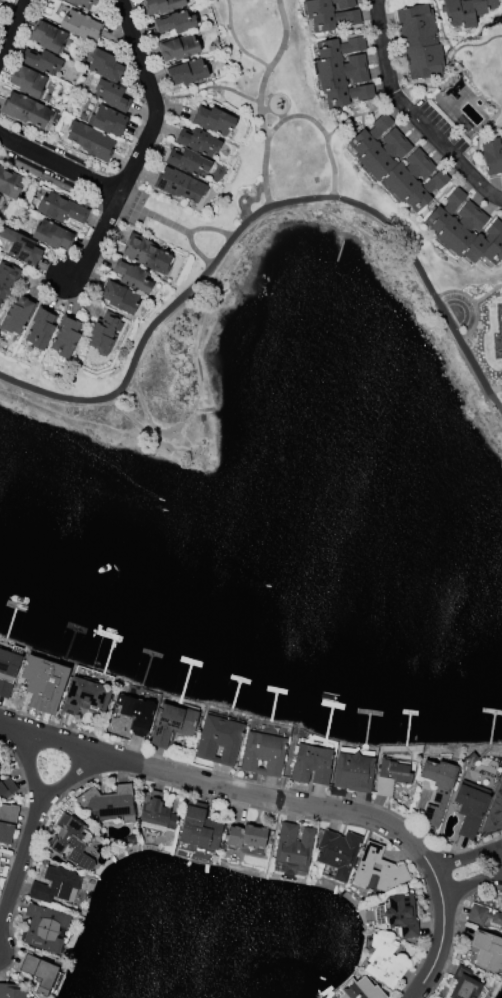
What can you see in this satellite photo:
building: (81, 3)
building: (162, 6)
building: (466, 11)
building: (330, 14)
building: (175, 22)
building: (80, 25)
road: (12, 26)
building: (48, 37)
road: (236, 42)
building: (419, 42)
building: (178, 48)
building: (41, 62)
building: (105, 66)
building: (186, 72)
building: (342, 72)
building: (28, 81)
road: (206, 87)
building: (112, 95)
road: (259, 100)
road: (266, 105)
building: (462, 110)
building: (26, 111)
road: (264, 112)
road: (358, 115)
road: (411, 115)
road: (281, 118)
building: (108, 121)
building: (213, 121)
road: (320, 129)
building: (90, 140)
building: (198, 142)
building: (492, 156)
road: (135, 160)
building: (188, 162)
building: (397, 164)
building: (9, 184)
building: (180, 185)
park: (312, 193)
road: (241, 197)
building: (61, 209)
road: (260, 212)
road: (173, 226)
building: (466, 230)
building: (52, 236)
road: (96, 240)
building: (21, 247)
road: (197, 251)
building: (146, 254)
building: (132, 276)
building: (7, 279)
road: (487, 293)
building: (121, 296)
road: (473, 303)
building: (17, 316)
building: (41, 330)
building: (104, 332)
building: (66, 338)
road: (495, 389)
river: (245, 604)
building: (7, 671)
building: (44, 683)
building: (80, 696)
building: (136, 713)
building: (172, 725)
building: (219, 741)
building: (264, 755)
road: (27, 757)
building: (472, 758)
building: (311, 765)
building: (0, 769)
road: (75, 772)
building: (354, 773)
building: (391, 777)
road: (255, 779)
building: (7, 788)
building: (437, 789)
road: (291, 803)
building: (109, 804)
building: (470, 807)
building: (157, 812)
building: (494, 815)
building: (7, 823)
building: (200, 827)
building: (246, 836)
building: (131, 839)
building: (73, 841)
building: (294, 850)
building: (338, 853)
road: (20, 865)
building: (377, 871)
road: (472, 875)
building: (55, 885)
building: (399, 915)
building: (483, 916)
building: (45, 928)
road: (453, 928)
building: (488, 951)
building: (385, 962)
building: (40, 973)
building: (464, 984)
building: (360, 989)
building: (11, 992)

